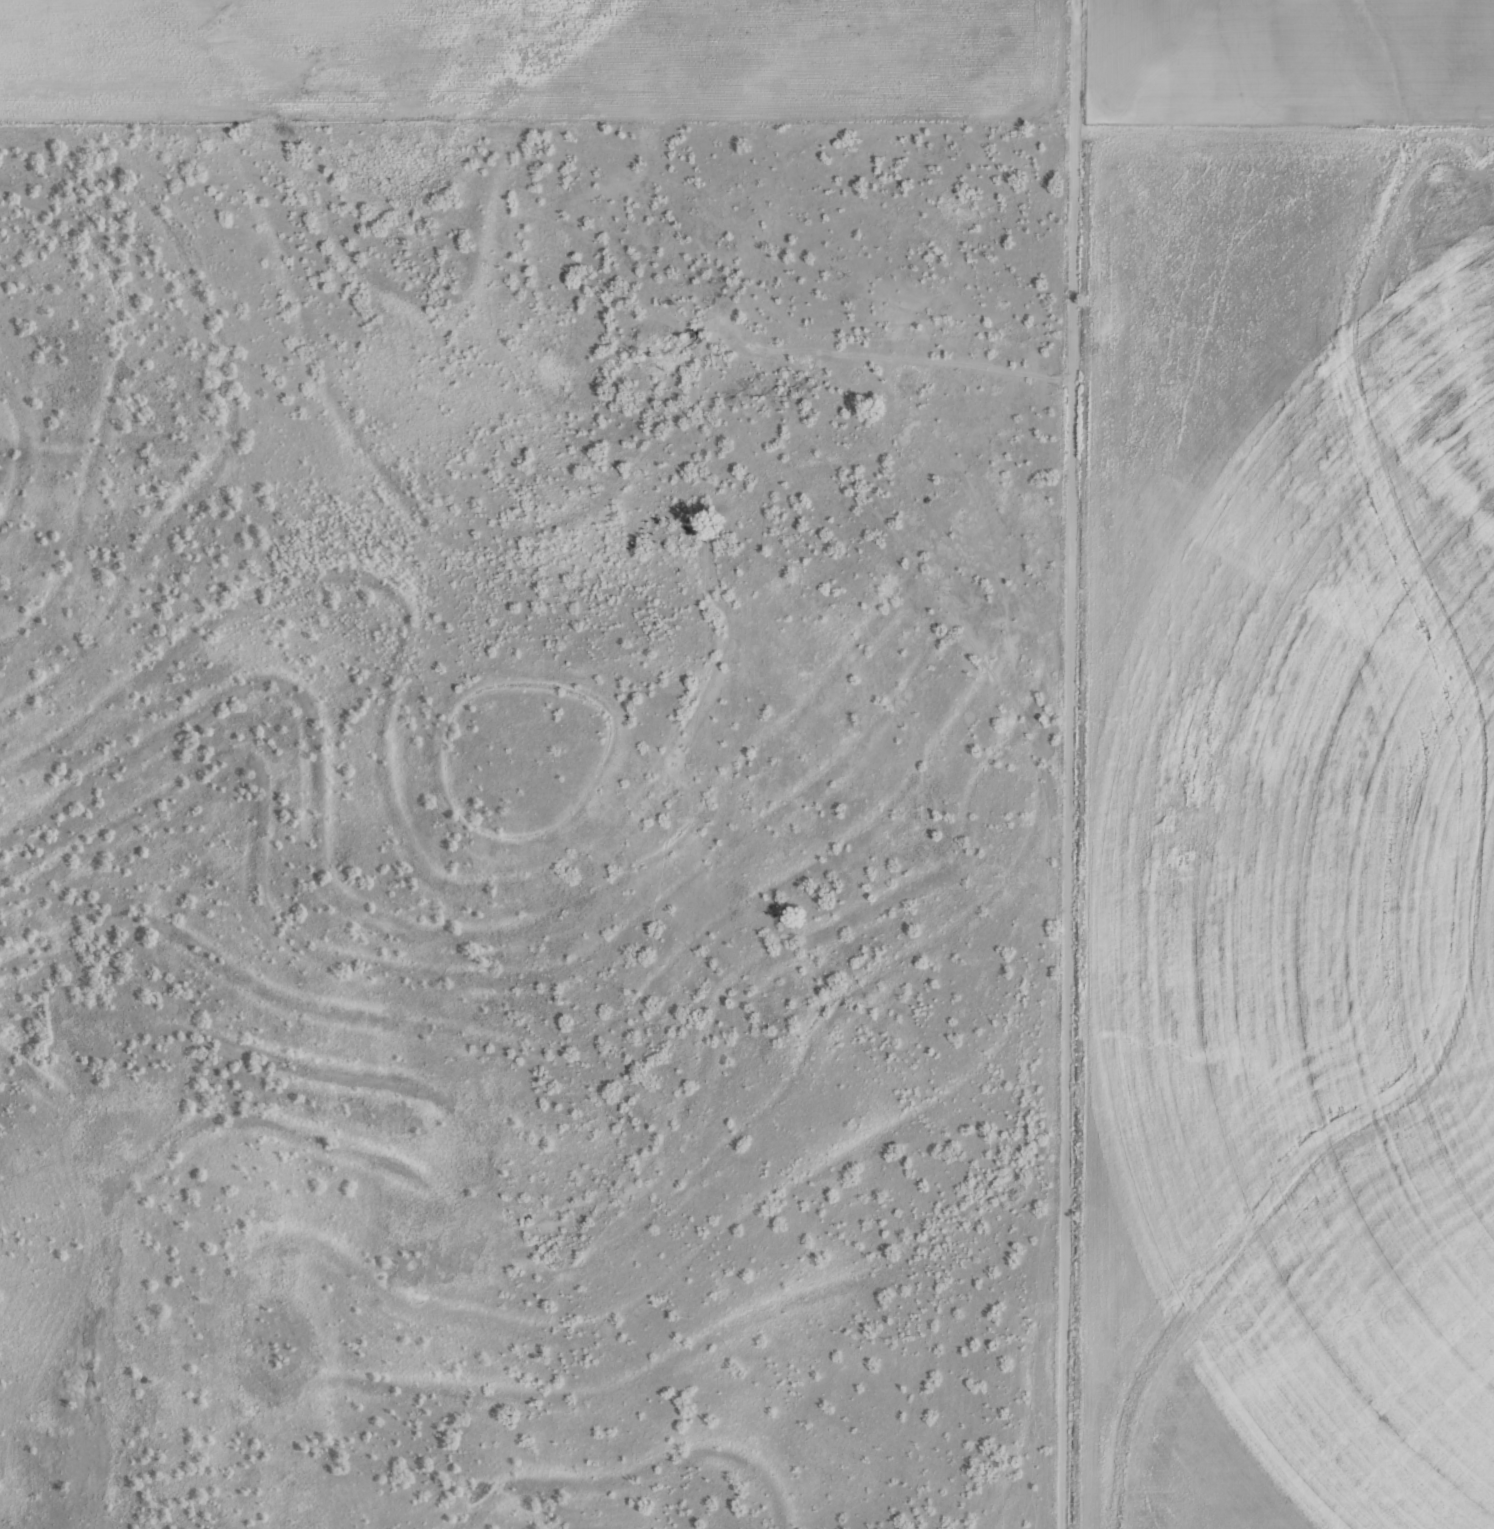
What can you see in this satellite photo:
road: (1073, 764)

